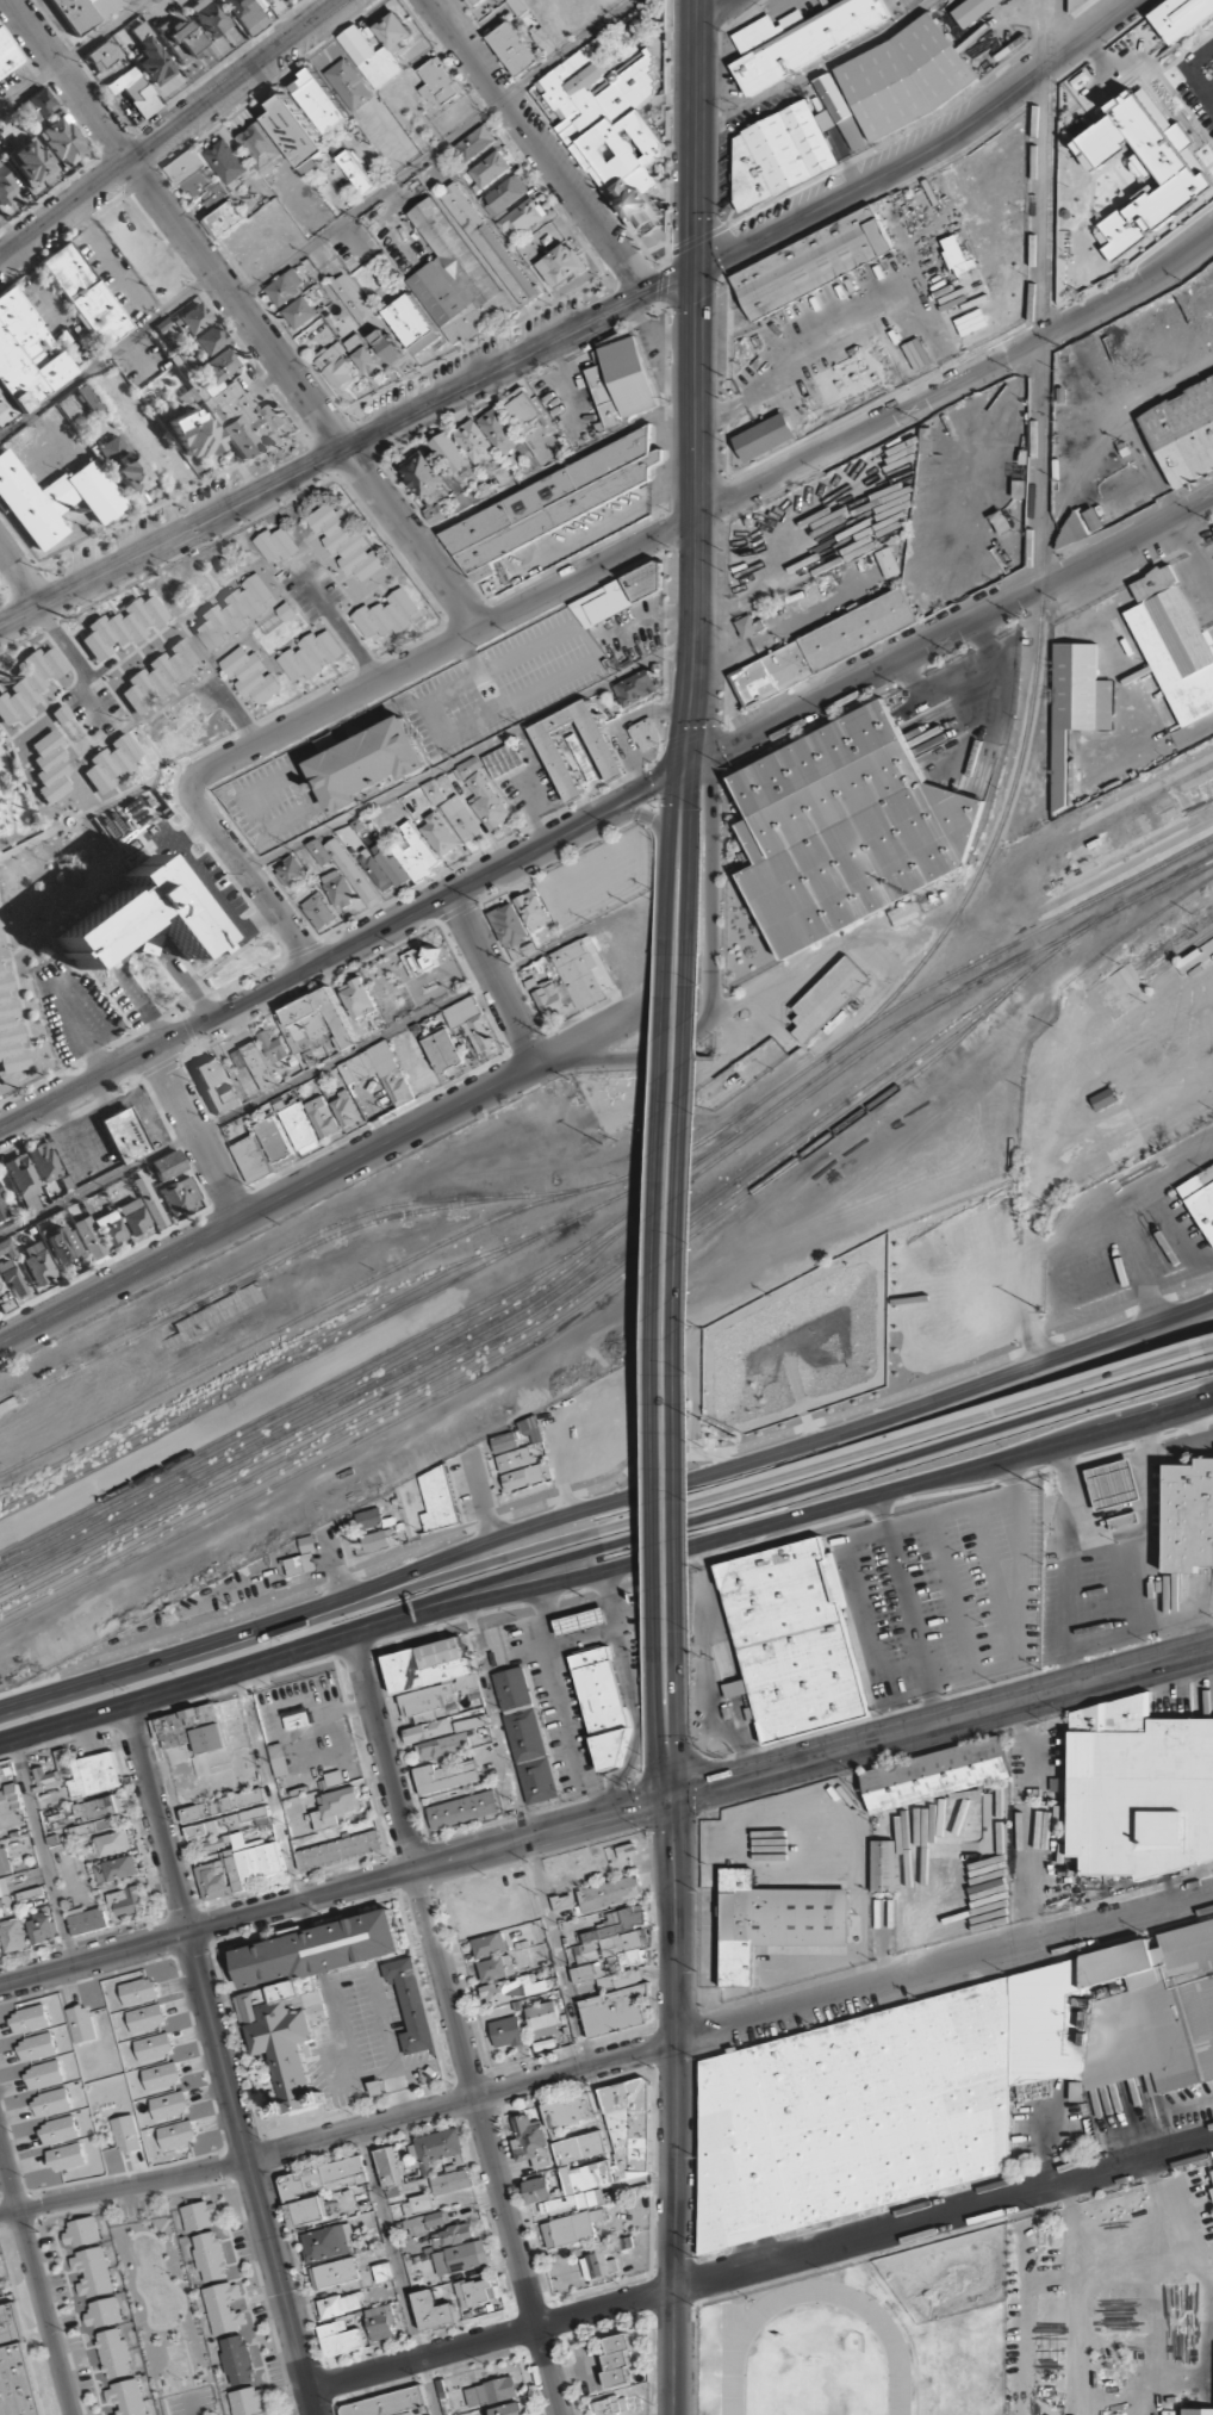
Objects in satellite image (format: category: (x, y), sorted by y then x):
building: (267, 0)
building: (472, 2)
building: (1072, 2)
building: (517, 6)
road: (714, 7)
building: (971, 10)
building: (85, 12)
building: (245, 14)
building: (210, 17)
building: (1181, 17)
building: (393, 31)
building: (801, 37)
building: (182, 39)
building: (543, 39)
building: (514, 48)
road: (74, 55)
building: (104, 55)
building: (153, 56)
building: (7, 57)
building: (371, 57)
building: (903, 76)
building: (438, 83)
building: (348, 85)
building: (136, 92)
building: (318, 100)
building: (37, 106)
building: (840, 111)
building: (610, 129)
road: (173, 131)
building: (294, 131)
road: (695, 131)
building: (63, 142)
building: (474, 143)
road: (540, 143)
building: (260, 147)
road: (433, 149)
road: (922, 149)
building: (780, 154)
building: (31, 162)
building: (226, 162)
building: (1143, 168)
building: (489, 169)
building: (357, 172)
building: (198, 179)
building: (6, 187)
building: (505, 194)
building: (522, 218)
building: (225, 219)
building: (489, 244)
building: (530, 254)
building: (810, 261)
building: (562, 265)
building: (454, 278)
building: (285, 288)
building: (85, 294)
building: (350, 296)
building: (299, 312)
road: (244, 313)
building: (192, 321)
building: (412, 324)
building: (207, 341)
building: (386, 346)
road: (107, 353)
building: (363, 355)
building: (25, 358)
building: (336, 365)
building: (622, 379)
building: (89, 399)
building: (232, 404)
building: (68, 409)
building: (522, 409)
building: (1182, 429)
building: (499, 430)
building: (193, 434)
building: (763, 435)
building: (475, 442)
building: (111, 447)
road: (348, 447)
building: (129, 472)
building: (440, 473)
building: (54, 499)
building: (548, 504)
road: (709, 510)
road: (697, 520)
building: (1000, 521)
building: (1080, 527)
building: (344, 541)
building: (276, 545)
railway: (1039, 557)
building: (887, 561)
road: (21, 573)
building: (618, 594)
building: (234, 611)
building: (286, 611)
building: (386, 614)
building: (749, 626)
building: (123, 627)
road: (946, 635)
road: (58, 641)
building: (1174, 642)
building: (821, 646)
building: (310, 654)
building: (250, 675)
building: (160, 676)
building: (30, 685)
building: (635, 688)
road: (704, 691)
building: (1074, 704)
building: (643, 733)
building: (603, 751)
traffic signals: (711, 757)
building: (502, 759)
building: (366, 762)
building: (112, 763)
building: (50, 768)
traffic signals: (682, 776)
building: (433, 791)
building: (481, 794)
railway: (1087, 814)
road: (646, 815)
road: (690, 817)
building: (460, 818)
road: (670, 818)
building: (1, 827)
building: (842, 830)
building: (438, 834)
railway: (1062, 845)
building: (415, 852)
building: (390, 863)
building: (343, 867)
building: (375, 870)
road: (247, 871)
building: (290, 871)
railway: (1081, 876)
building: (337, 888)
road: (711, 902)
building: (317, 911)
building: (531, 911)
railway: (1065, 915)
building: (137, 918)
building: (509, 925)
railway: (1183, 937)
road: (688, 949)
road: (340, 951)
railway: (1187, 951)
road: (666, 956)
railway: (1037, 966)
road: (493, 979)
building: (566, 979)
railway: (956, 992)
building: (826, 997)
building: (357, 998)
road: (769, 1007)
building: (471, 1023)
building: (316, 1026)
building: (11, 1030)
building: (273, 1047)
building: (443, 1050)
road: (621, 1058)
building: (255, 1064)
building: (379, 1070)
building: (210, 1082)
railway: (782, 1094)
building: (1103, 1099)
building: (344, 1109)
building: (322, 1117)
building: (297, 1125)
building: (125, 1135)
road: (197, 1135)
building: (273, 1138)
railway: (695, 1147)
building: (251, 1159)
building: (45, 1162)
building: (168, 1166)
road: (325, 1174)
building: (24, 1184)
building: (180, 1196)
building: (1201, 1198)
building: (150, 1202)
building: (4, 1209)
building: (133, 1217)
building: (111, 1229)
building: (89, 1238)
building: (61, 1242)
building: (7, 1248)
railway: (287, 1259)
building: (38, 1264)
railway: (232, 1274)
building: (10, 1285)
railway: (542, 1308)
railway: (490, 1315)
railway: (543, 1320)
railway: (416, 1323)
road: (1209, 1339)
road: (682, 1342)
road: (658, 1348)
railway: (273, 1349)
road: (1211, 1359)
railway: (368, 1360)
railway: (292, 1365)
railway: (490, 1371)
railway: (240, 1378)
railway: (263, 1391)
railway: (280, 1417)
railway: (316, 1420)
railway: (467, 1424)
building: (531, 1429)
railway: (69, 1438)
building: (504, 1442)
road: (778, 1451)
building: (515, 1459)
railway: (292, 1465)
building: (527, 1476)
road: (776, 1476)
building: (1112, 1483)
road: (779, 1494)
road: (480, 1495)
building: (437, 1500)
building: (1188, 1515)
building: (369, 1519)
building: (1121, 1519)
road: (785, 1527)
railway: (285, 1532)
building: (379, 1539)
road: (334, 1563)
building: (300, 1564)
building: (581, 1620)
building: (792, 1640)
road: (172, 1656)
building: (434, 1688)
road: (660, 1690)
road: (672, 1690)
road: (176, 1693)
building: (604, 1705)
building: (297, 1720)
road: (943, 1722)
building: (192, 1728)
building: (525, 1733)
building: (450, 1739)
building: (279, 1758)
building: (81, 1773)
building: (934, 1774)
building: (446, 1776)
building: (334, 1777)
road: (269, 1787)
building: (1136, 1788)
traffic signals: (672, 1798)
building: (223, 1805)
building: (335, 1806)
building: (11, 1807)
building: (98, 1808)
building: (461, 1808)
road: (157, 1820)
building: (225, 1821)
building: (93, 1826)
road: (527, 1839)
building: (112, 1843)
building: (337, 1849)
building: (5, 1861)
road: (430, 1864)
building: (883, 1864)
building: (114, 1868)
building: (5, 1887)
building: (609, 1893)
building: (126, 1900)
building: (562, 1902)
building: (0, 1913)
building: (87, 1920)
building: (772, 1922)
building: (41, 1927)
building: (13, 1935)
building: (616, 1939)
building: (489, 1943)
building: (316, 1949)
road: (94, 1957)
building: (494, 1967)
building: (605, 1975)
building: (510, 1988)
building: (137, 1991)
building: (410, 2004)
building: (614, 2011)
building: (27, 2017)
building: (144, 2017)
building: (543, 2019)
building: (80, 2022)
road: (453, 2026)
building: (506, 2031)
building: (284, 2034)
parking lot: (362, 2040)
building: (35, 2045)
building: (153, 2045)
road: (606, 2056)
building: (43, 2073)
road: (671, 2074)
building: (160, 2075)
building: (935, 2084)
building: (50, 2102)
building: (168, 2104)
building: (567, 2109)
building: (57, 2129)
building: (628, 2129)
building: (125, 2132)
building: (175, 2134)
building: (529, 2136)
building: (440, 2146)
building: (578, 2147)
building: (64, 2155)
building: (388, 2171)
road: (251, 2173)
building: (1211, 2175)
building: (586, 2177)
building: (450, 2181)
building: (536, 2190)
building: (1212, 2192)
building: (570, 2202)
building: (418, 2204)
building: (309, 2210)
building: (198, 2216)
building: (424, 2222)
building: (570, 2228)
building: (1125, 2228)
building: (81, 2231)
building: (452, 2235)
building: (326, 2241)
building: (210, 2256)
building: (460, 2258)
building: (604, 2258)
road: (761, 2265)
building: (381, 2271)
road: (396, 2271)
building: (92, 2272)
building: (334, 2273)
road: (35, 2281)
building: (472, 2291)
building: (338, 2304)
building: (223, 2308)
building: (433, 2309)
building: (102, 2311)
building: (379, 2322)
building: (340, 2339)
building: (113, 2353)
building: (236, 2360)
building: (616, 2360)
building: (15, 2366)
park: (813, 2385)
building: (491, 2391)
building: (125, 2397)
building: (247, 2401)
building: (386, 2403)
building: (609, 2405)
road: (294, 2409)
building: (1198, 2411)

